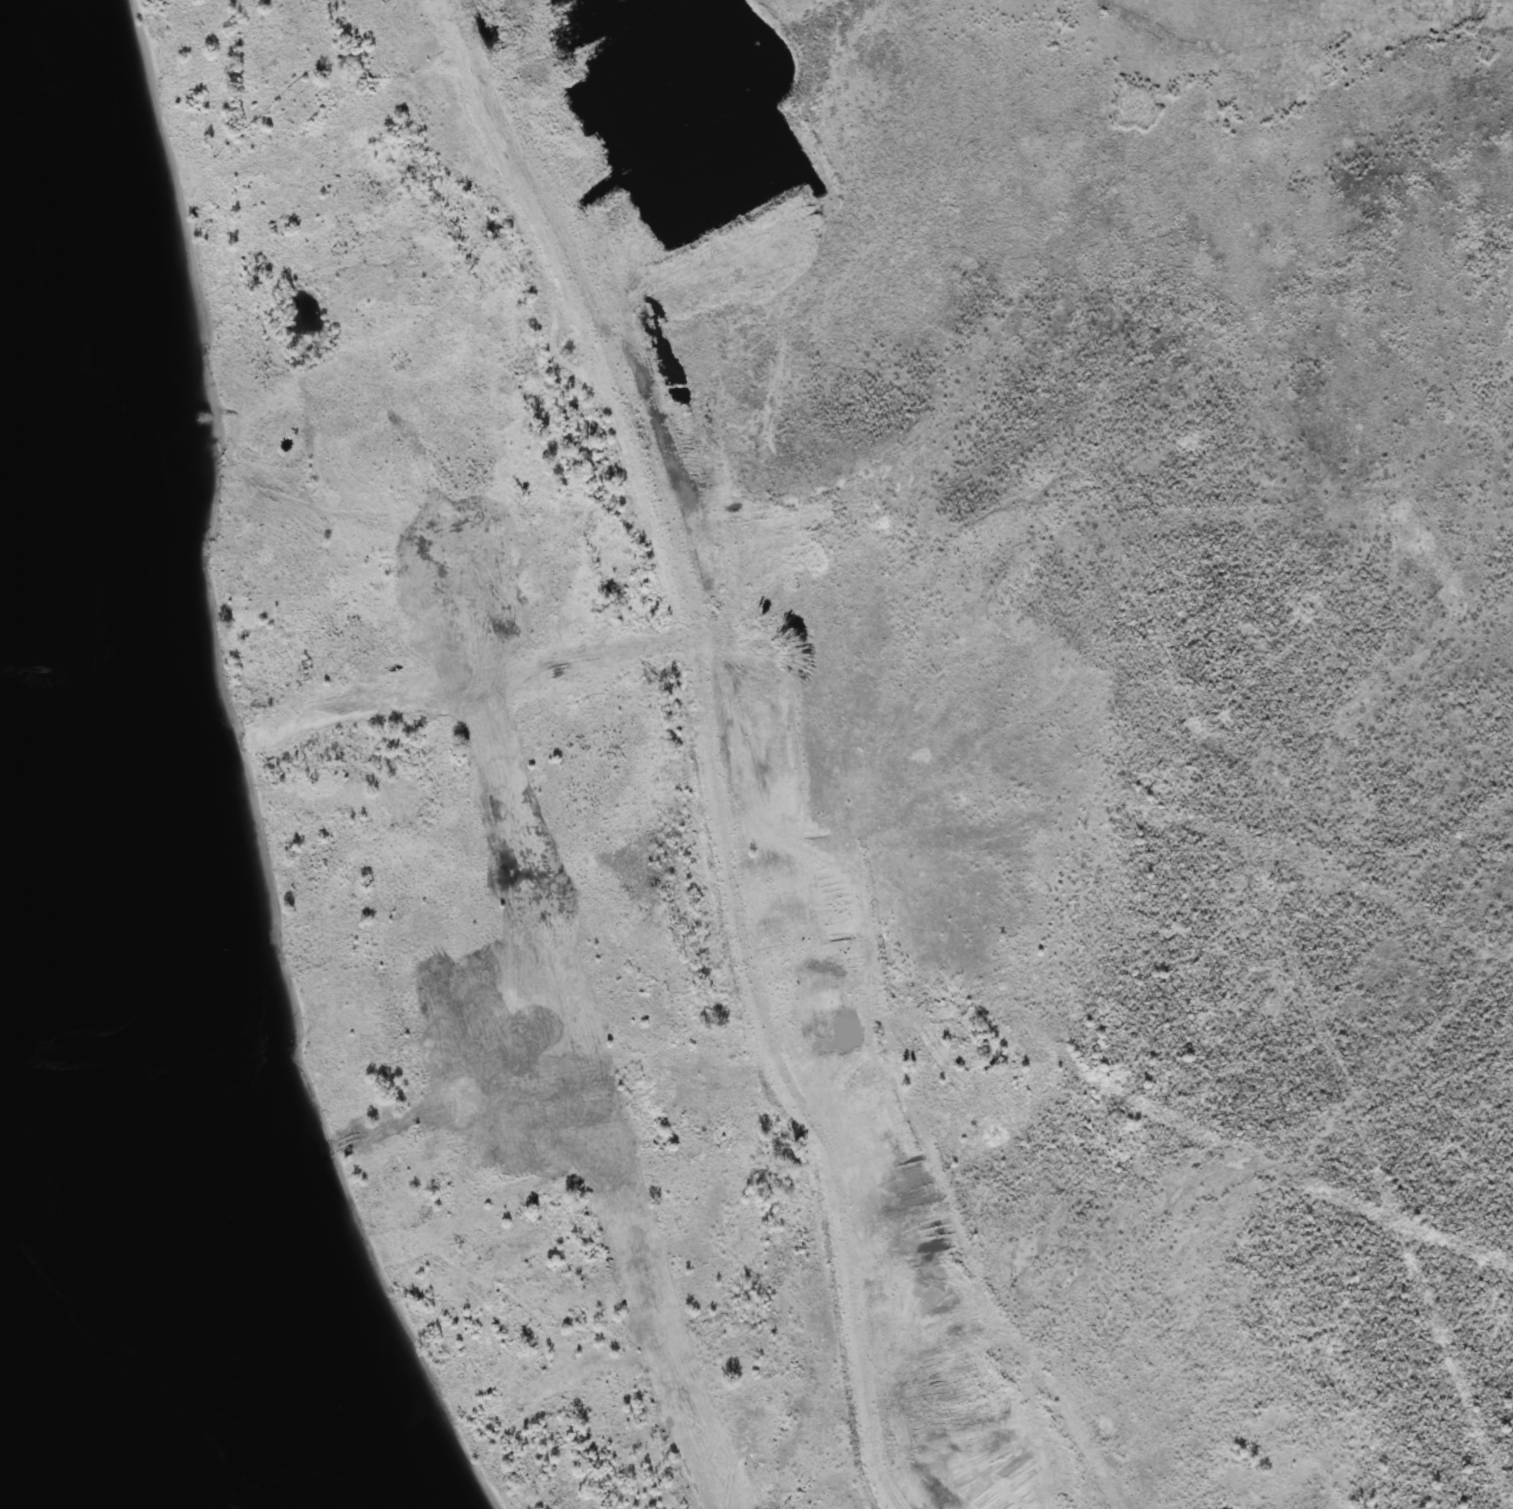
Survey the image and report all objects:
river: (33, 1461)

